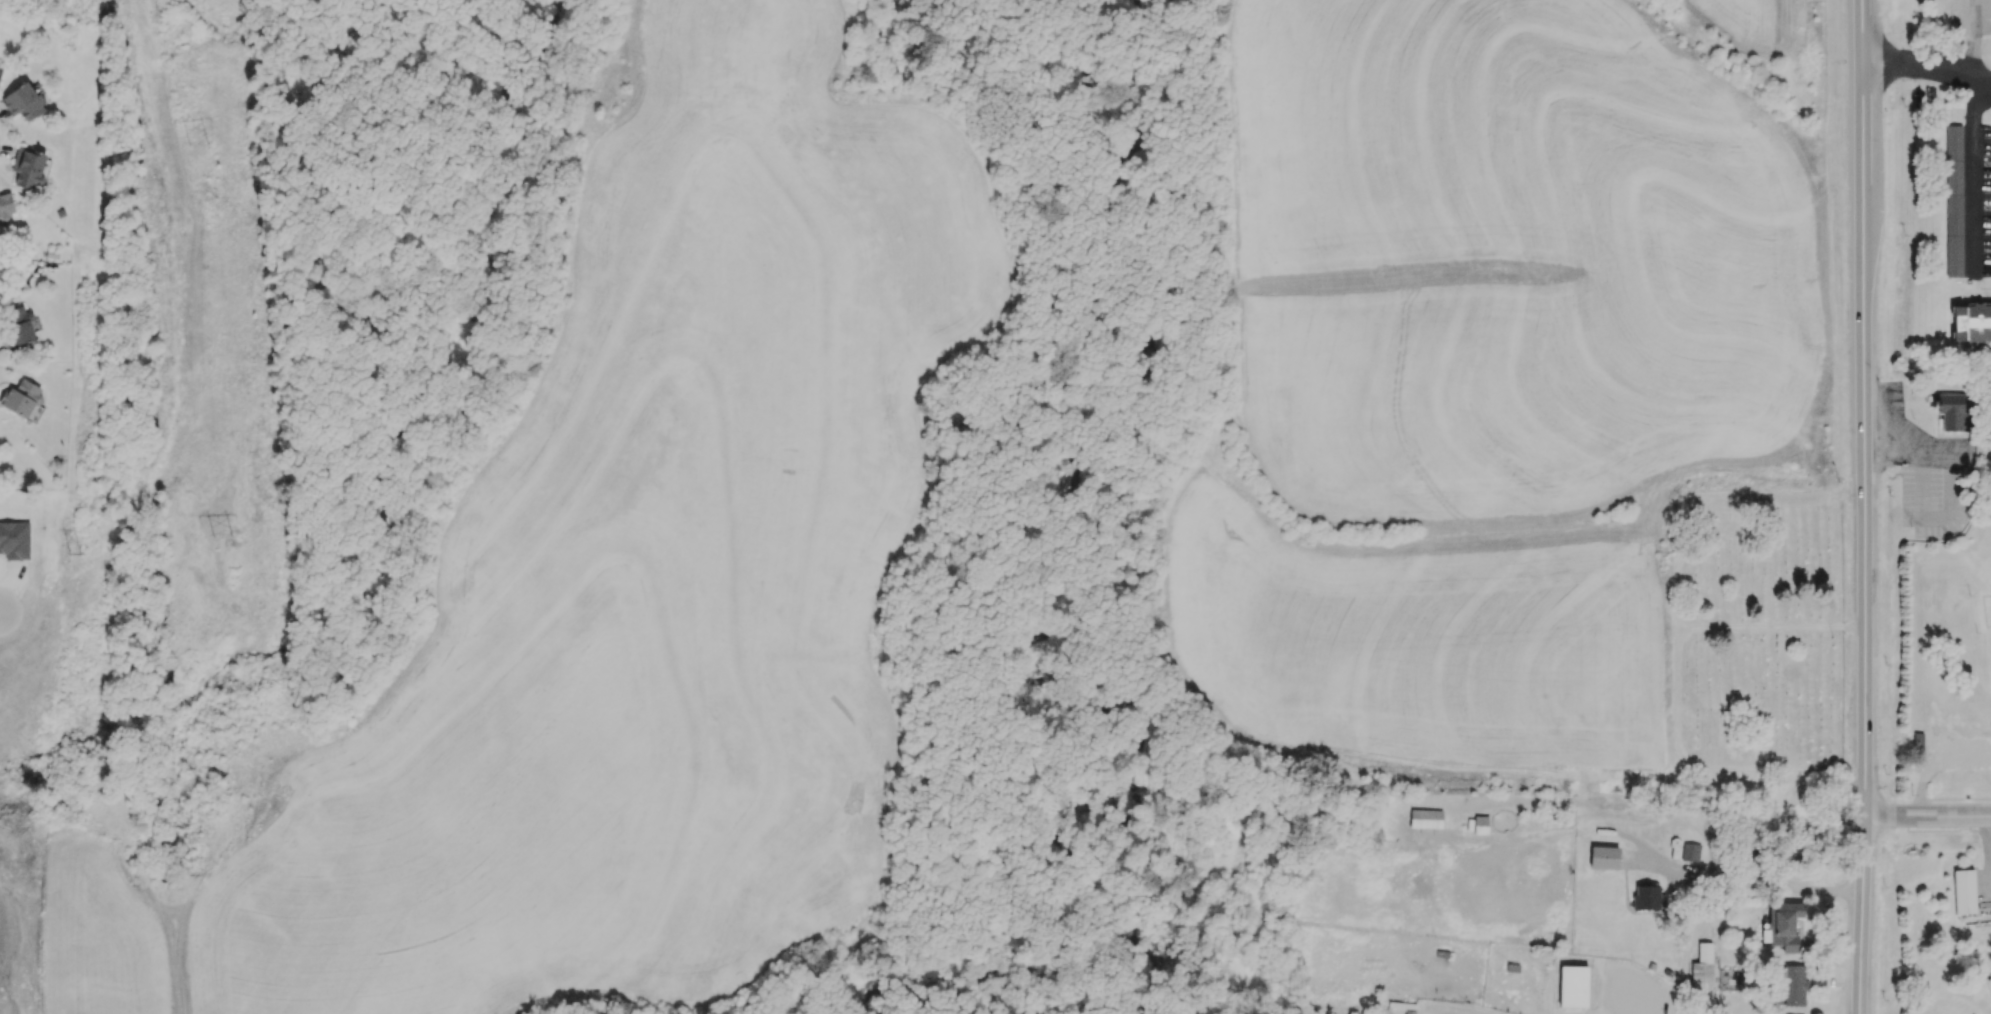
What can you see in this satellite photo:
parking lot: (1970, 15)
road: (1918, 62)
road: (1981, 76)
road: (1979, 89)
building: (24, 101)
road: (1972, 137)
power tower: (204, 142)
building: (27, 167)
building: (1953, 199)
parking lot: (1985, 200)
building: (5, 206)
building: (1970, 321)
building: (19, 325)
building: (20, 398)
building: (1955, 409)
road: (1907, 443)
parking lot: (1922, 467)
road: (1848, 506)
road: (1870, 506)
road: (1858, 507)
power tower: (228, 536)
power tower: (76, 554)
road: (1675, 588)
road: (1770, 628)
park: (1756, 638)
building: (1920, 742)
road: (1706, 770)
road: (1924, 782)
road: (1955, 798)
building: (1425, 818)
road: (1924, 818)
building: (1480, 824)
road: (1942, 831)
road: (1989, 846)
building: (1690, 851)
building: (1603, 857)
road: (1786, 888)
building: (1964, 891)
building: (1646, 896)
building: (1783, 925)
building: (1704, 978)
building: (1793, 985)
road: (1466, 1011)

